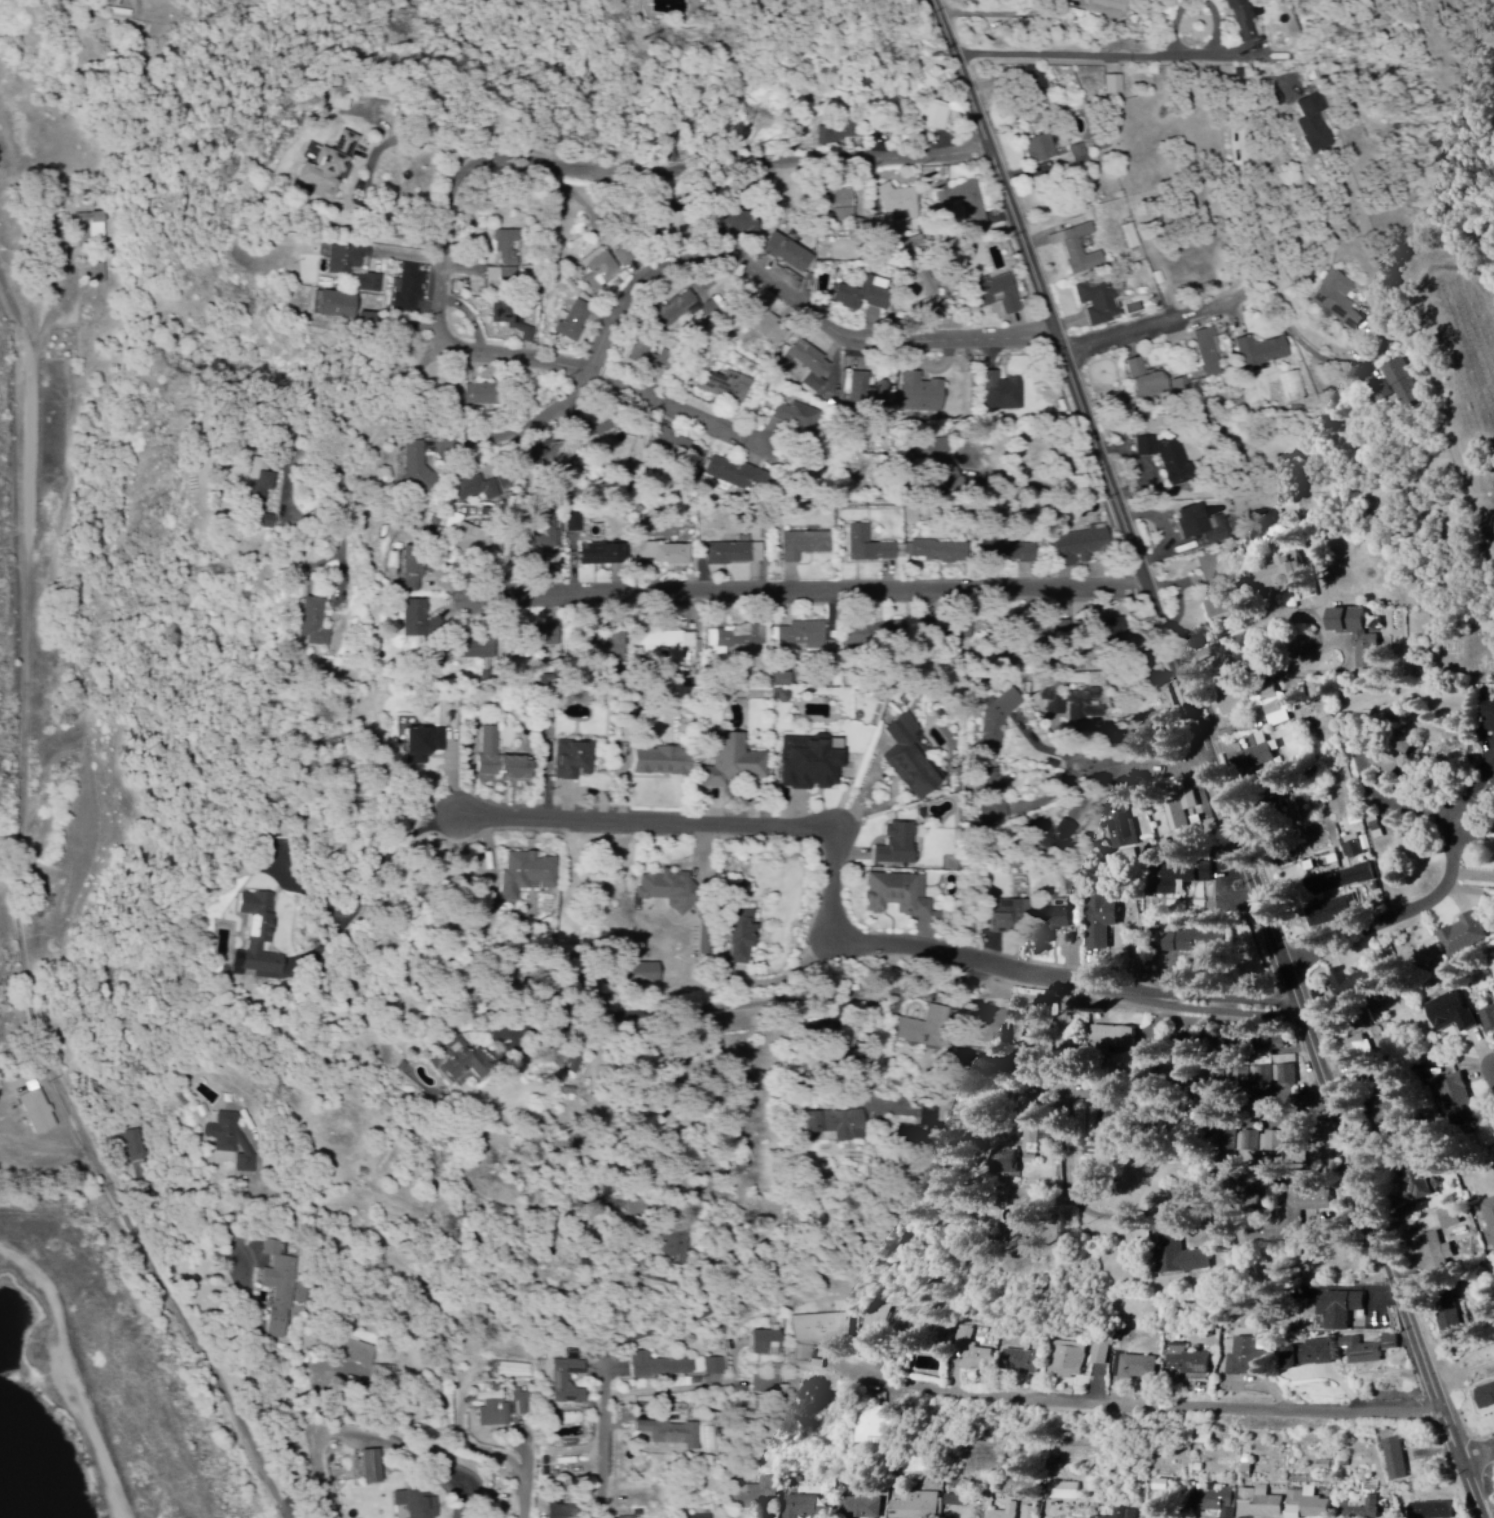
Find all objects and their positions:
road: (1203, 4)
building: (1108, 9)
building: (1242, 21)
road: (1065, 57)
building: (1039, 85)
building: (1115, 86)
building: (935, 117)
building: (1316, 126)
building: (837, 134)
building: (1041, 150)
building: (1073, 159)
road: (524, 167)
building: (331, 168)
building: (899, 203)
building: (842, 207)
building: (746, 222)
building: (682, 223)
building: (99, 227)
building: (1079, 249)
building: (790, 254)
building: (627, 256)
building: (507, 257)
road: (737, 258)
building: (348, 259)
building: (600, 270)
building: (102, 275)
building: (370, 284)
building: (928, 289)
building: (409, 290)
building: (866, 295)
building: (1000, 295)
building: (1338, 300)
building: (1100, 301)
building: (340, 306)
building: (681, 308)
building: (514, 320)
building: (576, 322)
road: (1167, 323)
building: (771, 329)
building: (1263, 352)
building: (1210, 353)
building: (812, 365)
road: (600, 377)
building: (1155, 382)
building: (729, 386)
building: (1403, 386)
building: (1003, 393)
building: (922, 394)
building: (485, 395)
building: (799, 416)
building: (680, 446)
building: (938, 449)
building: (560, 456)
building: (1171, 459)
building: (419, 467)
building: (742, 476)
building: (262, 481)
building: (956, 483)
building: (476, 490)
building: (575, 521)
building: (269, 522)
building: (1204, 526)
building: (466, 536)
building: (545, 536)
building: (807, 546)
building: (873, 547)
building: (1082, 547)
building: (1008, 551)
building: (938, 552)
building: (736, 554)
building: (605, 555)
building: (667, 555)
building: (414, 570)
building: (1286, 574)
building: (1219, 586)
road: (809, 595)
building: (419, 620)
building: (316, 623)
building: (1115, 630)
building: (967, 632)
building: (877, 633)
building: (1359, 635)
building: (752, 636)
building: (550, 637)
building: (801, 637)
building: (613, 646)
building: (669, 647)
building: (478, 648)
building: (783, 679)
building: (549, 681)
building: (1073, 703)
building: (999, 719)
building: (1493, 720)
building: (1161, 721)
building: (1362, 731)
building: (425, 745)
building: (839, 745)
building: (1262, 753)
road: (1209, 758)
building: (503, 760)
building: (912, 760)
building: (1396, 760)
building: (576, 761)
building: (664, 763)
building: (737, 763)
building: (812, 764)
road: (1100, 770)
building: (1181, 812)
road: (724, 829)
building: (1060, 838)
building: (899, 847)
building: (1187, 872)
building: (1209, 873)
building: (529, 875)
building: (1360, 876)
building: (670, 891)
building: (900, 897)
building: (1336, 913)
building: (1009, 916)
road: (1403, 917)
building: (1103, 918)
building: (1055, 919)
road: (24, 923)
building: (1466, 936)
building: (259, 937)
building: (744, 938)
building: (1200, 944)
building: (646, 974)
building: (1361, 985)
road: (1098, 988)
road: (740, 1014)
building: (1454, 1014)
building: (1489, 1020)
building: (991, 1026)
building: (927, 1030)
building: (1116, 1038)
building: (1363, 1056)
building: (465, 1063)
building: (1289, 1077)
building: (1460, 1100)
road: (1067, 1111)
building: (1397, 1111)
building: (38, 1113)
building: (1114, 1118)
building: (929, 1121)
building: (839, 1125)
building: (232, 1137)
building: (1040, 1137)
building: (1276, 1141)
building: (1251, 1142)
building: (1299, 1143)
building: (135, 1147)
building: (1010, 1164)
building: (1429, 1181)
building: (1490, 1212)
building: (1299, 1213)
building: (1455, 1217)
building: (674, 1242)
building: (1440, 1254)
building: (1185, 1258)
building: (281, 1289)
building: (1340, 1311)
building: (1457, 1327)
building: (824, 1329)
building: (907, 1329)
building: (767, 1344)
building: (360, 1353)
building: (1366, 1353)
building: (975, 1355)
building: (1313, 1355)
building: (808, 1359)
building: (1249, 1360)
building: (1068, 1361)
building: (1191, 1362)
building: (1021, 1363)
building: (717, 1367)
building: (662, 1368)
building: (1142, 1369)
building: (386, 1374)
road: (67, 1381)
building: (570, 1383)
building: (767, 1386)
building: (1489, 1397)
building: (520, 1406)
road: (1138, 1408)
building: (496, 1416)
building: (882, 1427)
road: (367, 1428)
building: (671, 1435)
road: (603, 1439)
road: (1480, 1459)
building: (373, 1469)
building: (1069, 1492)
building: (757, 1495)
building: (960, 1502)
building: (1217, 1502)
building: (419, 1504)
building: (1261, 1504)
building: (1309, 1505)
building: (805, 1508)
building: (862, 1508)
building: (1363, 1509)
building: (1434, 1511)
building: (564, 1512)
building: (1030, 1513)
building: (1128, 1514)
building: (634, 1517)
building: (706, 1517)

